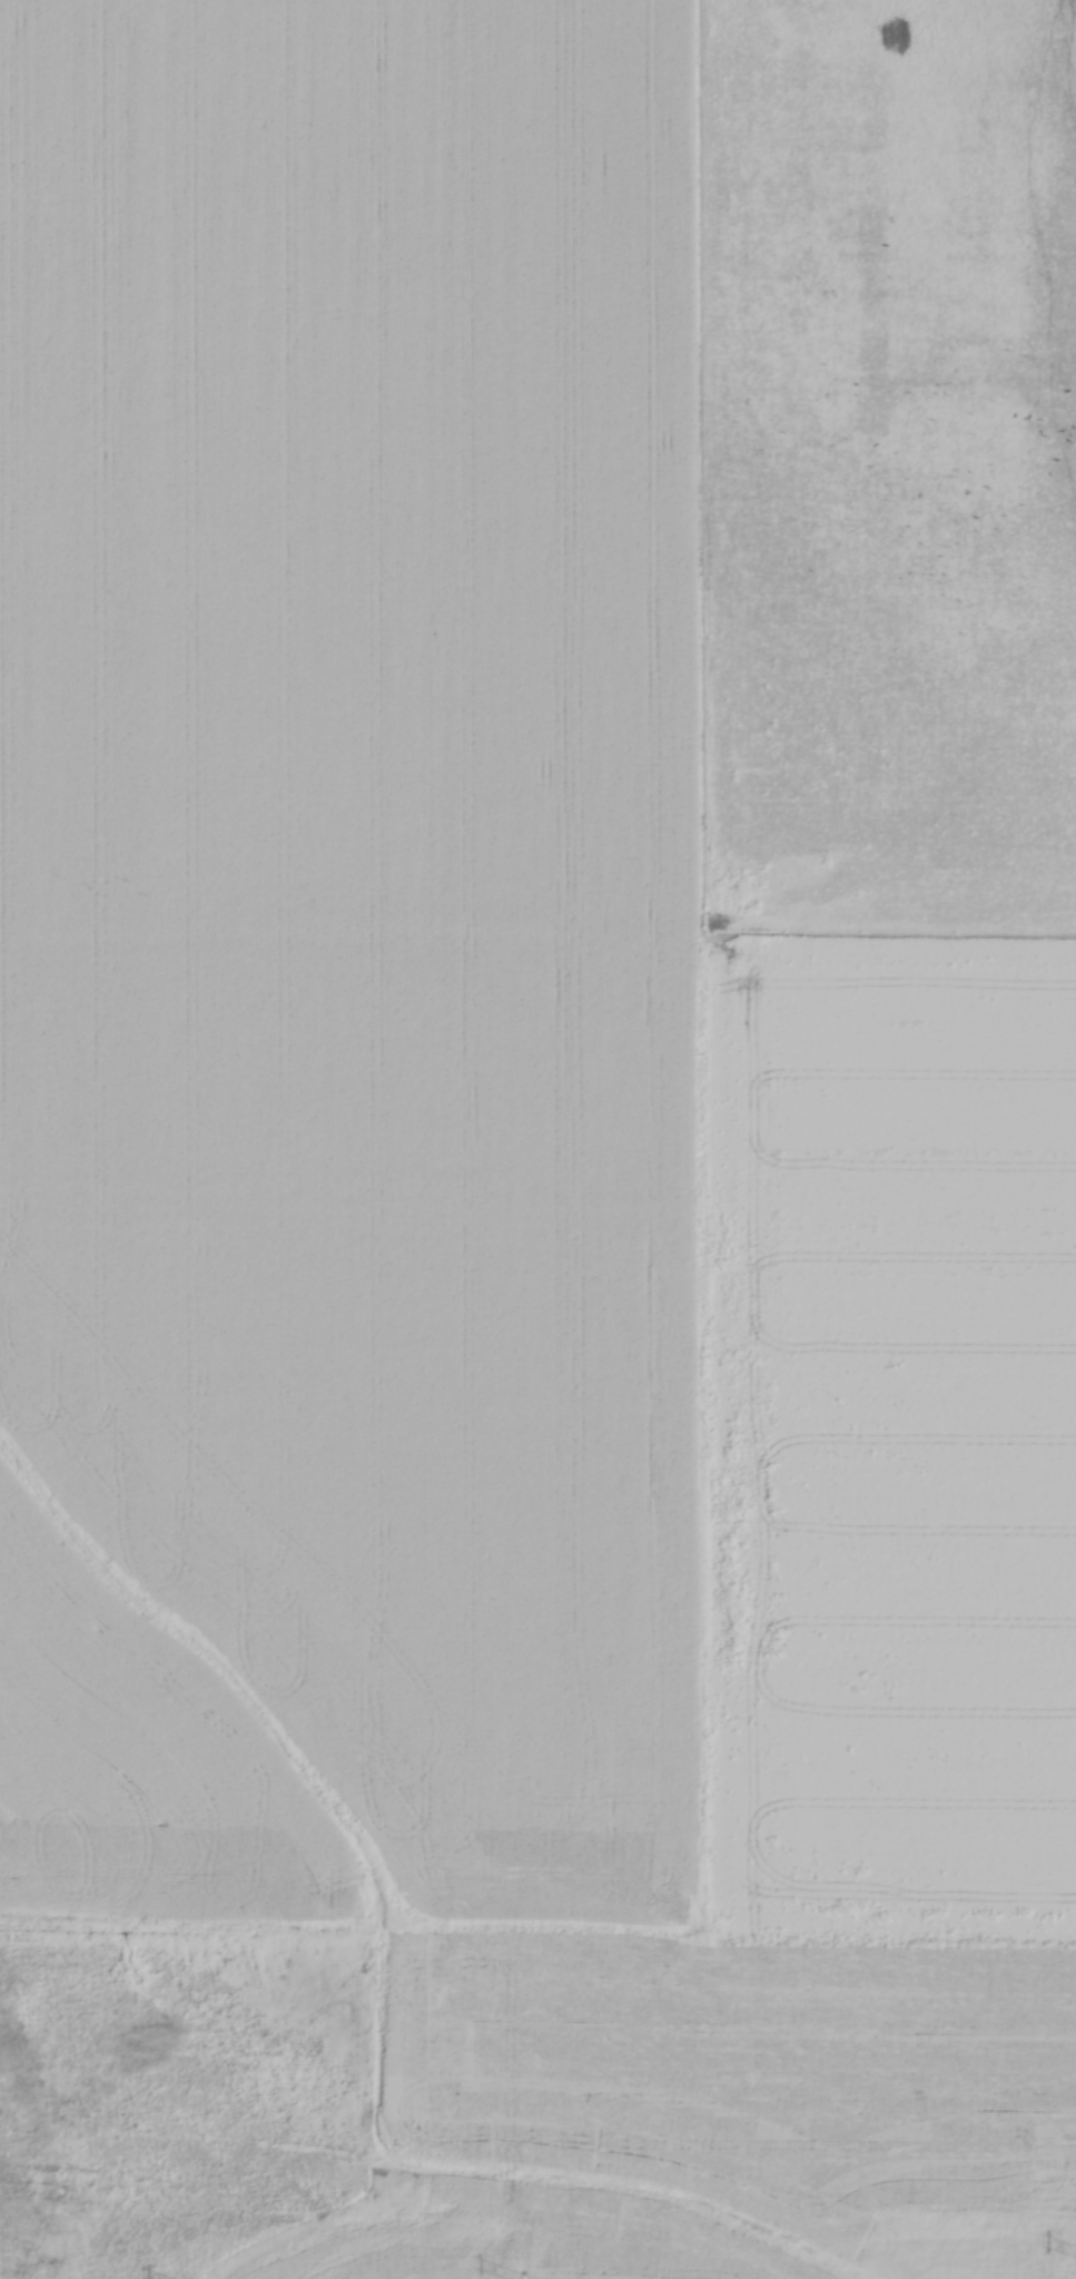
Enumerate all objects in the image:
power tower: (521, 2276)

